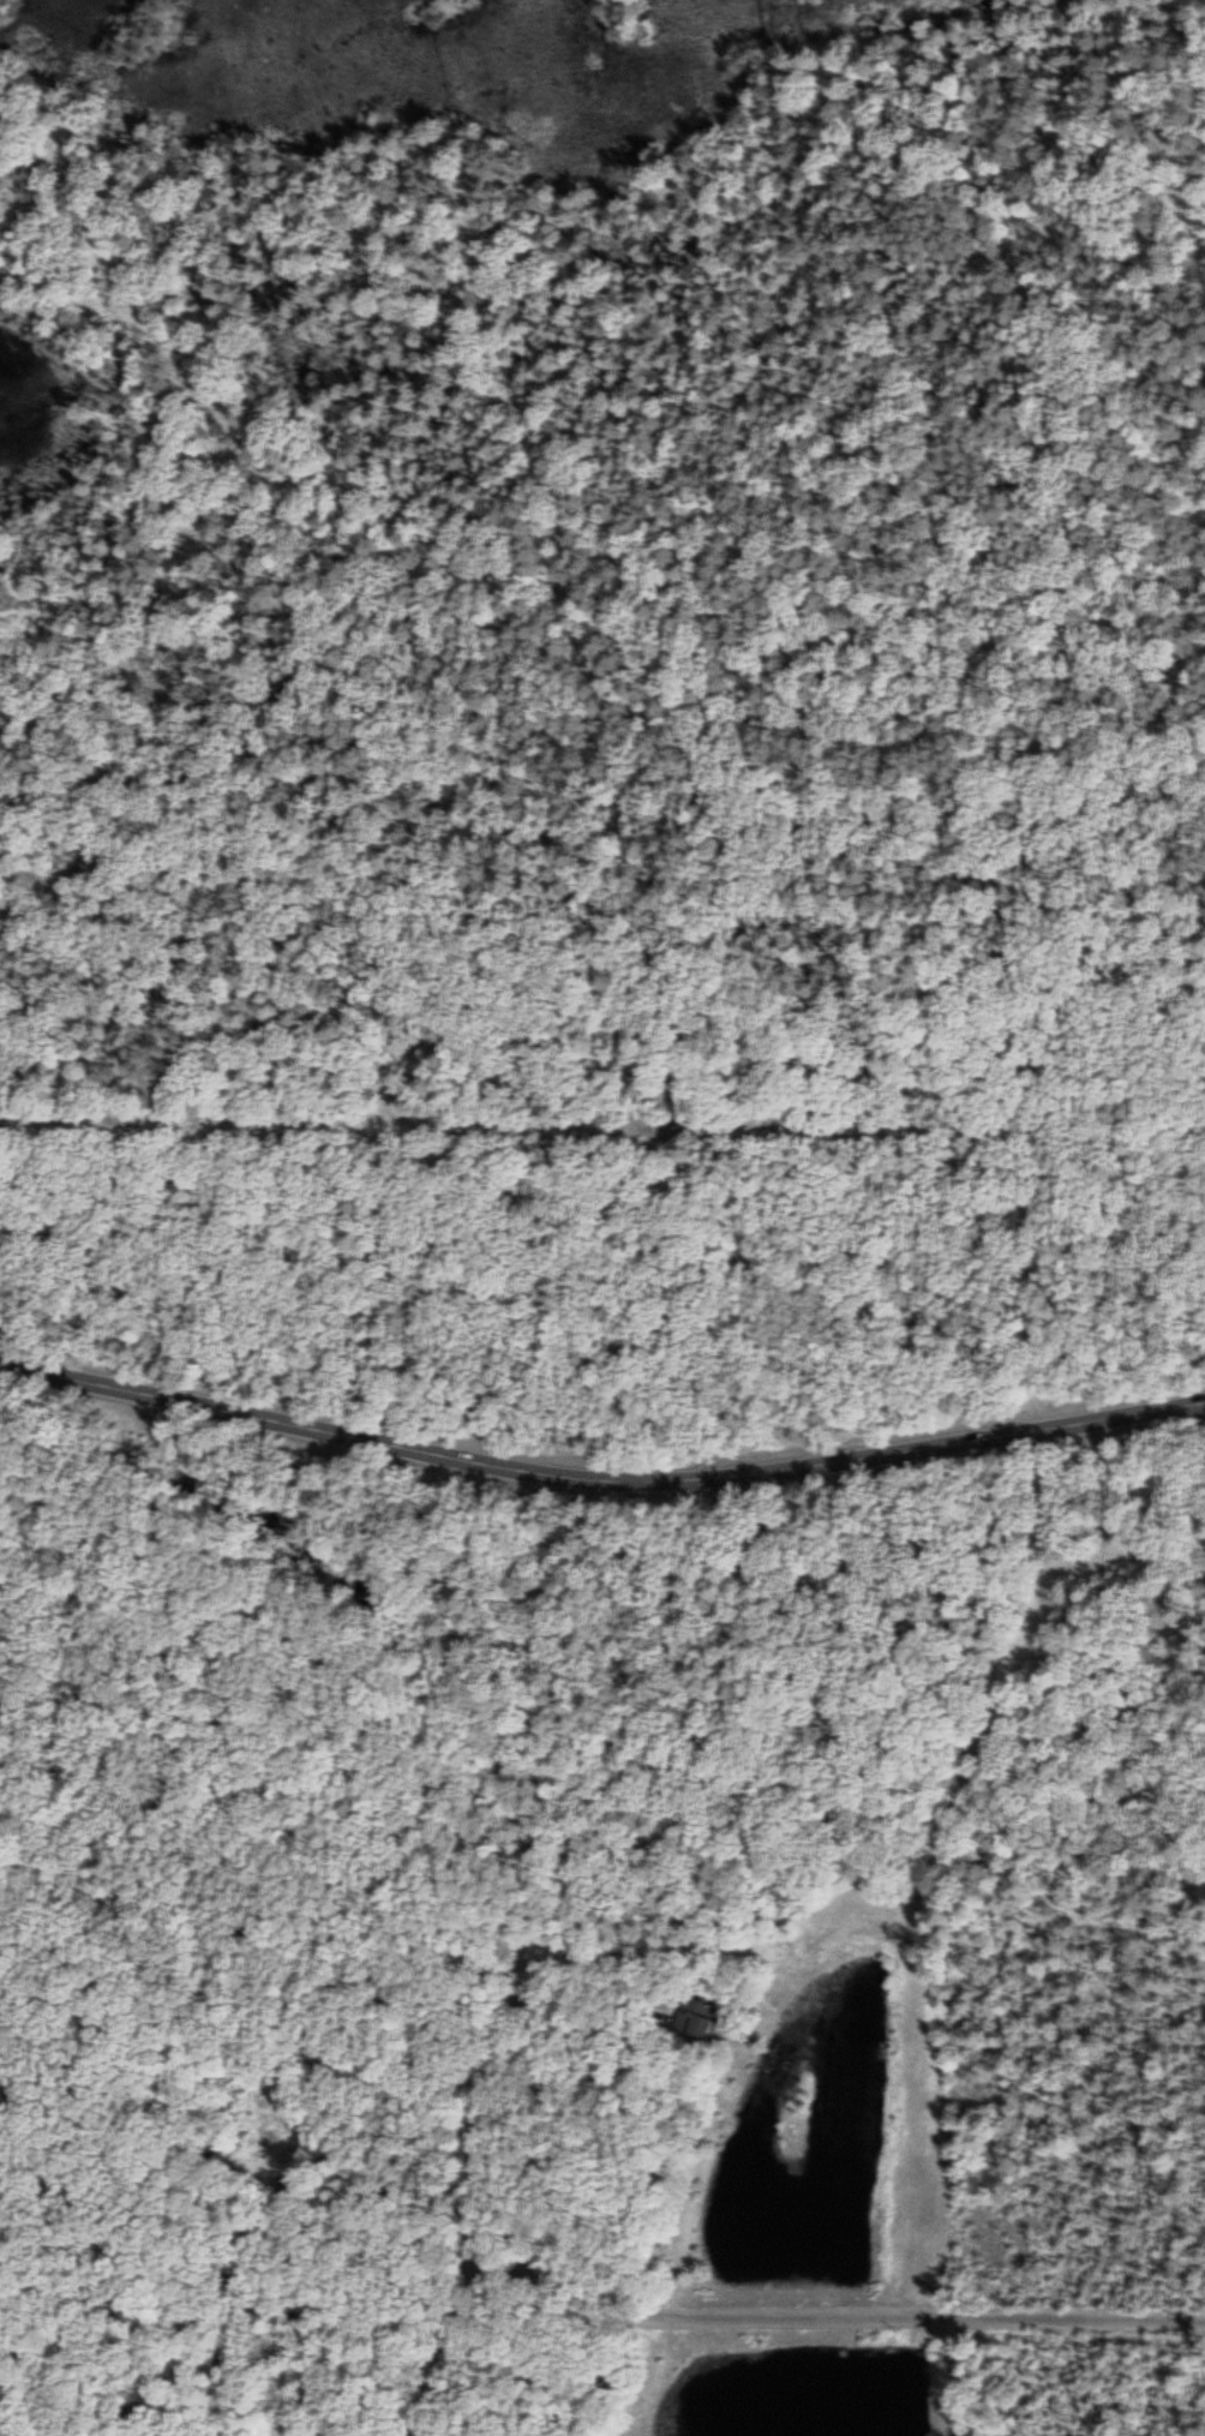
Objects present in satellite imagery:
road: (619, 701)
road: (599, 1482)
building: (696, 2024)
road: (481, 2281)
road: (928, 2318)
road: (438, 2356)

